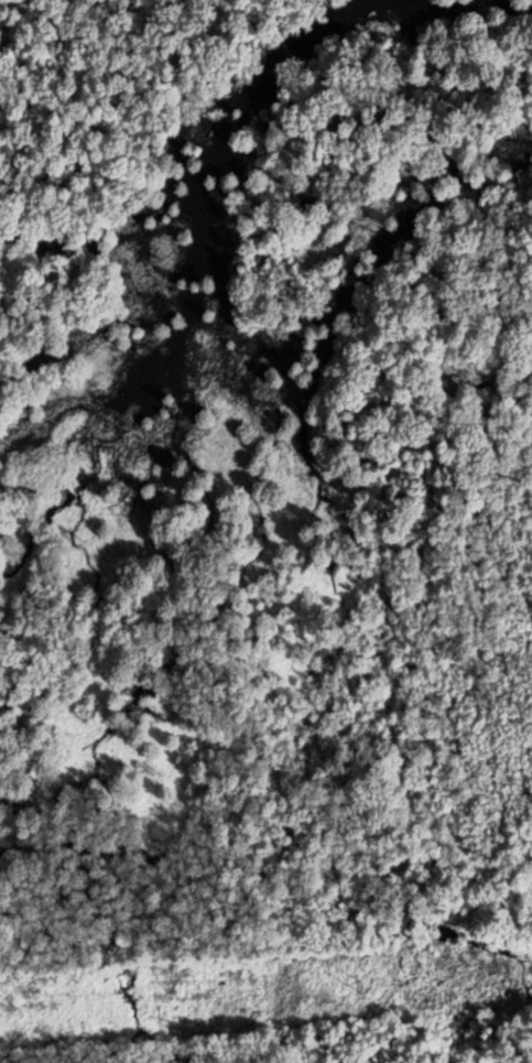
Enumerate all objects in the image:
power tower: (362, 986)

